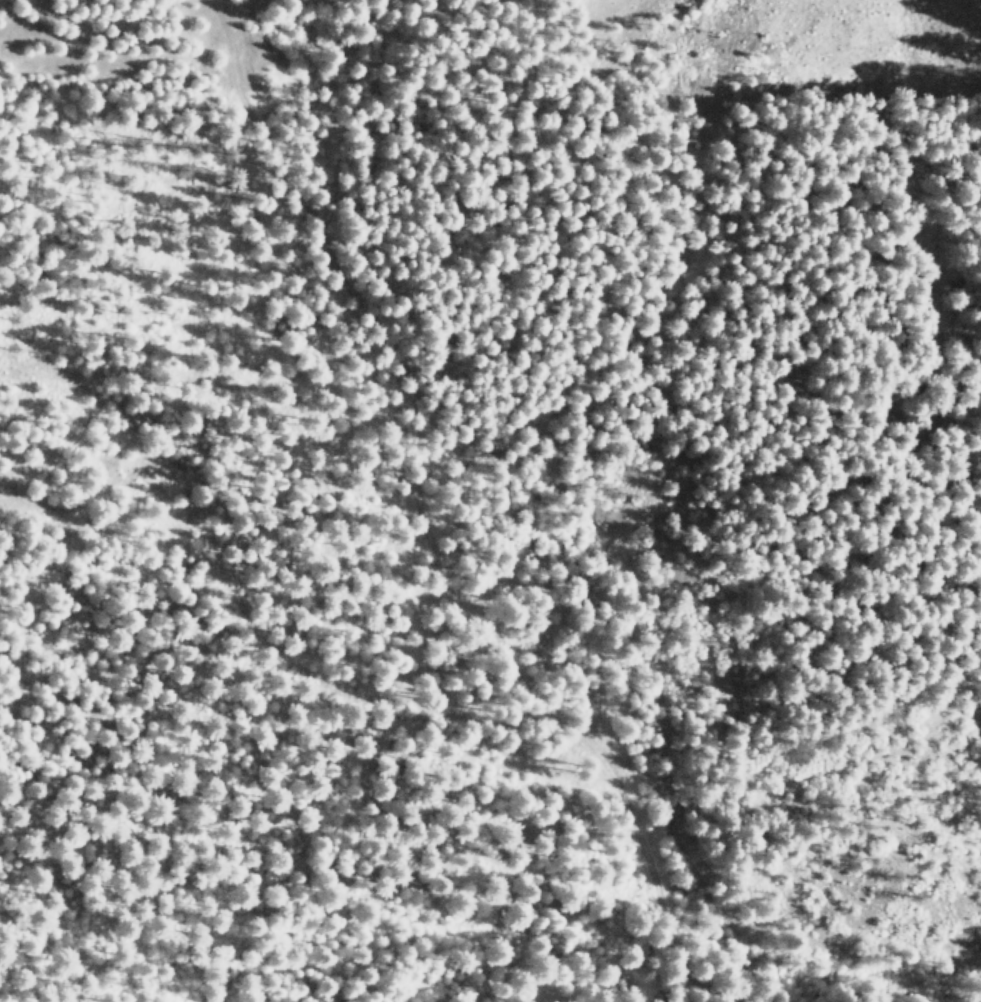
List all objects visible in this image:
road: (453, 507)

